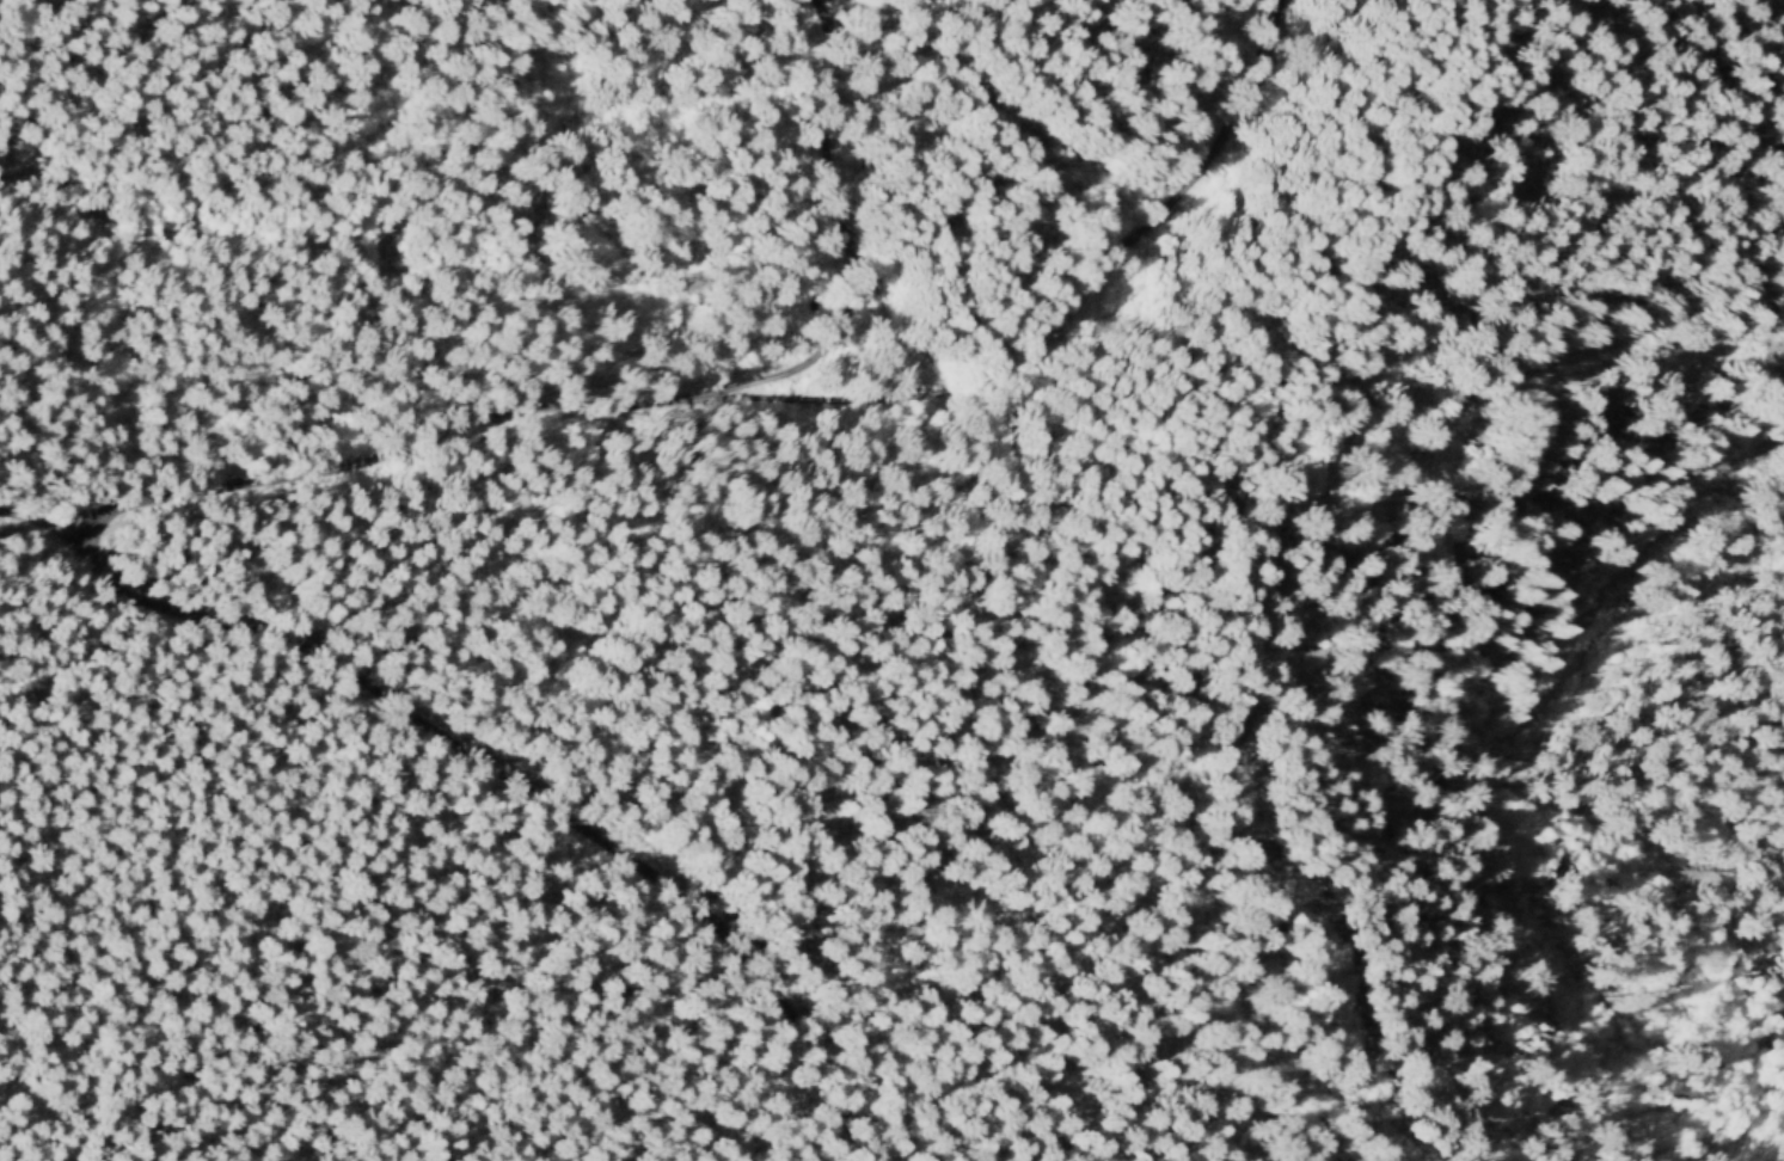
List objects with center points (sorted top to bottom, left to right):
road: (200, 504)

